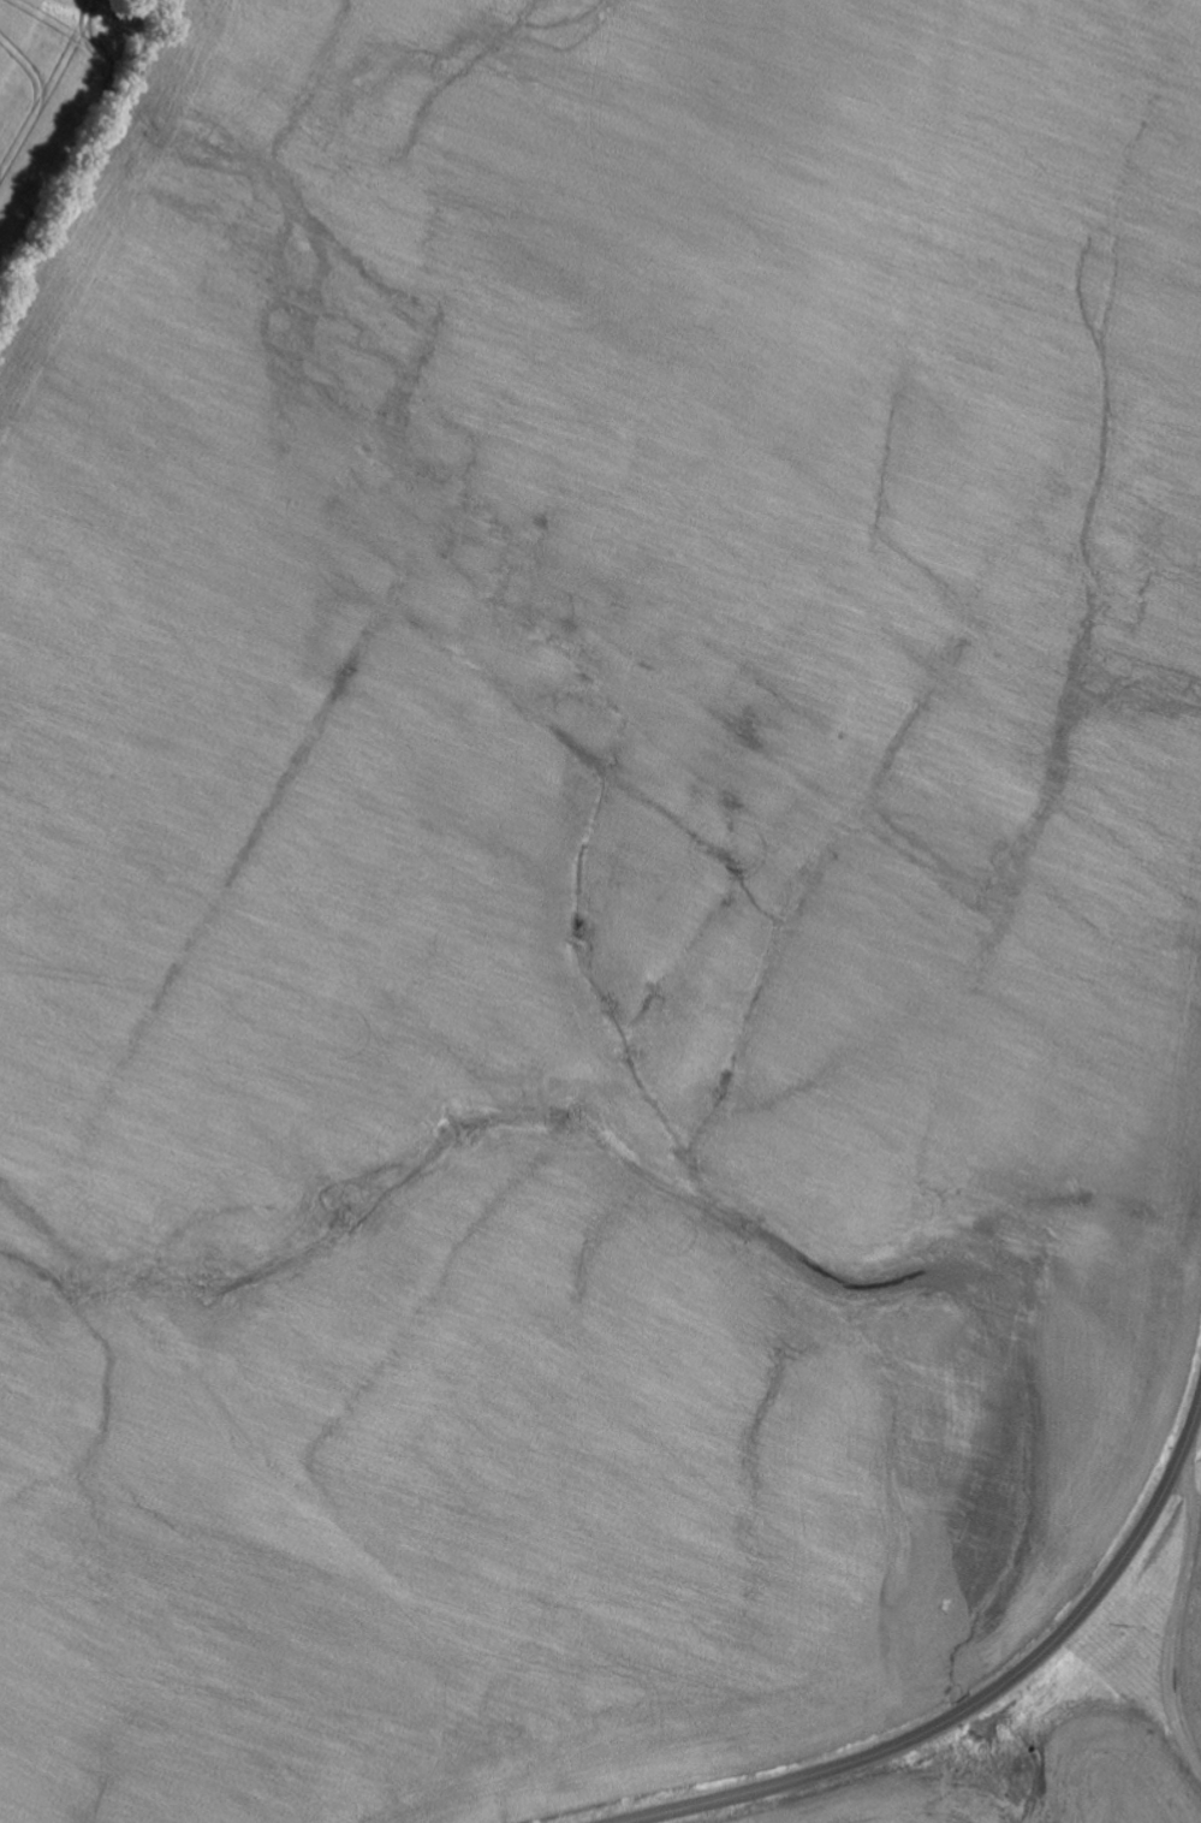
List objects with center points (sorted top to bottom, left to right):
road: (1173, 1614)
road: (985, 1699)

